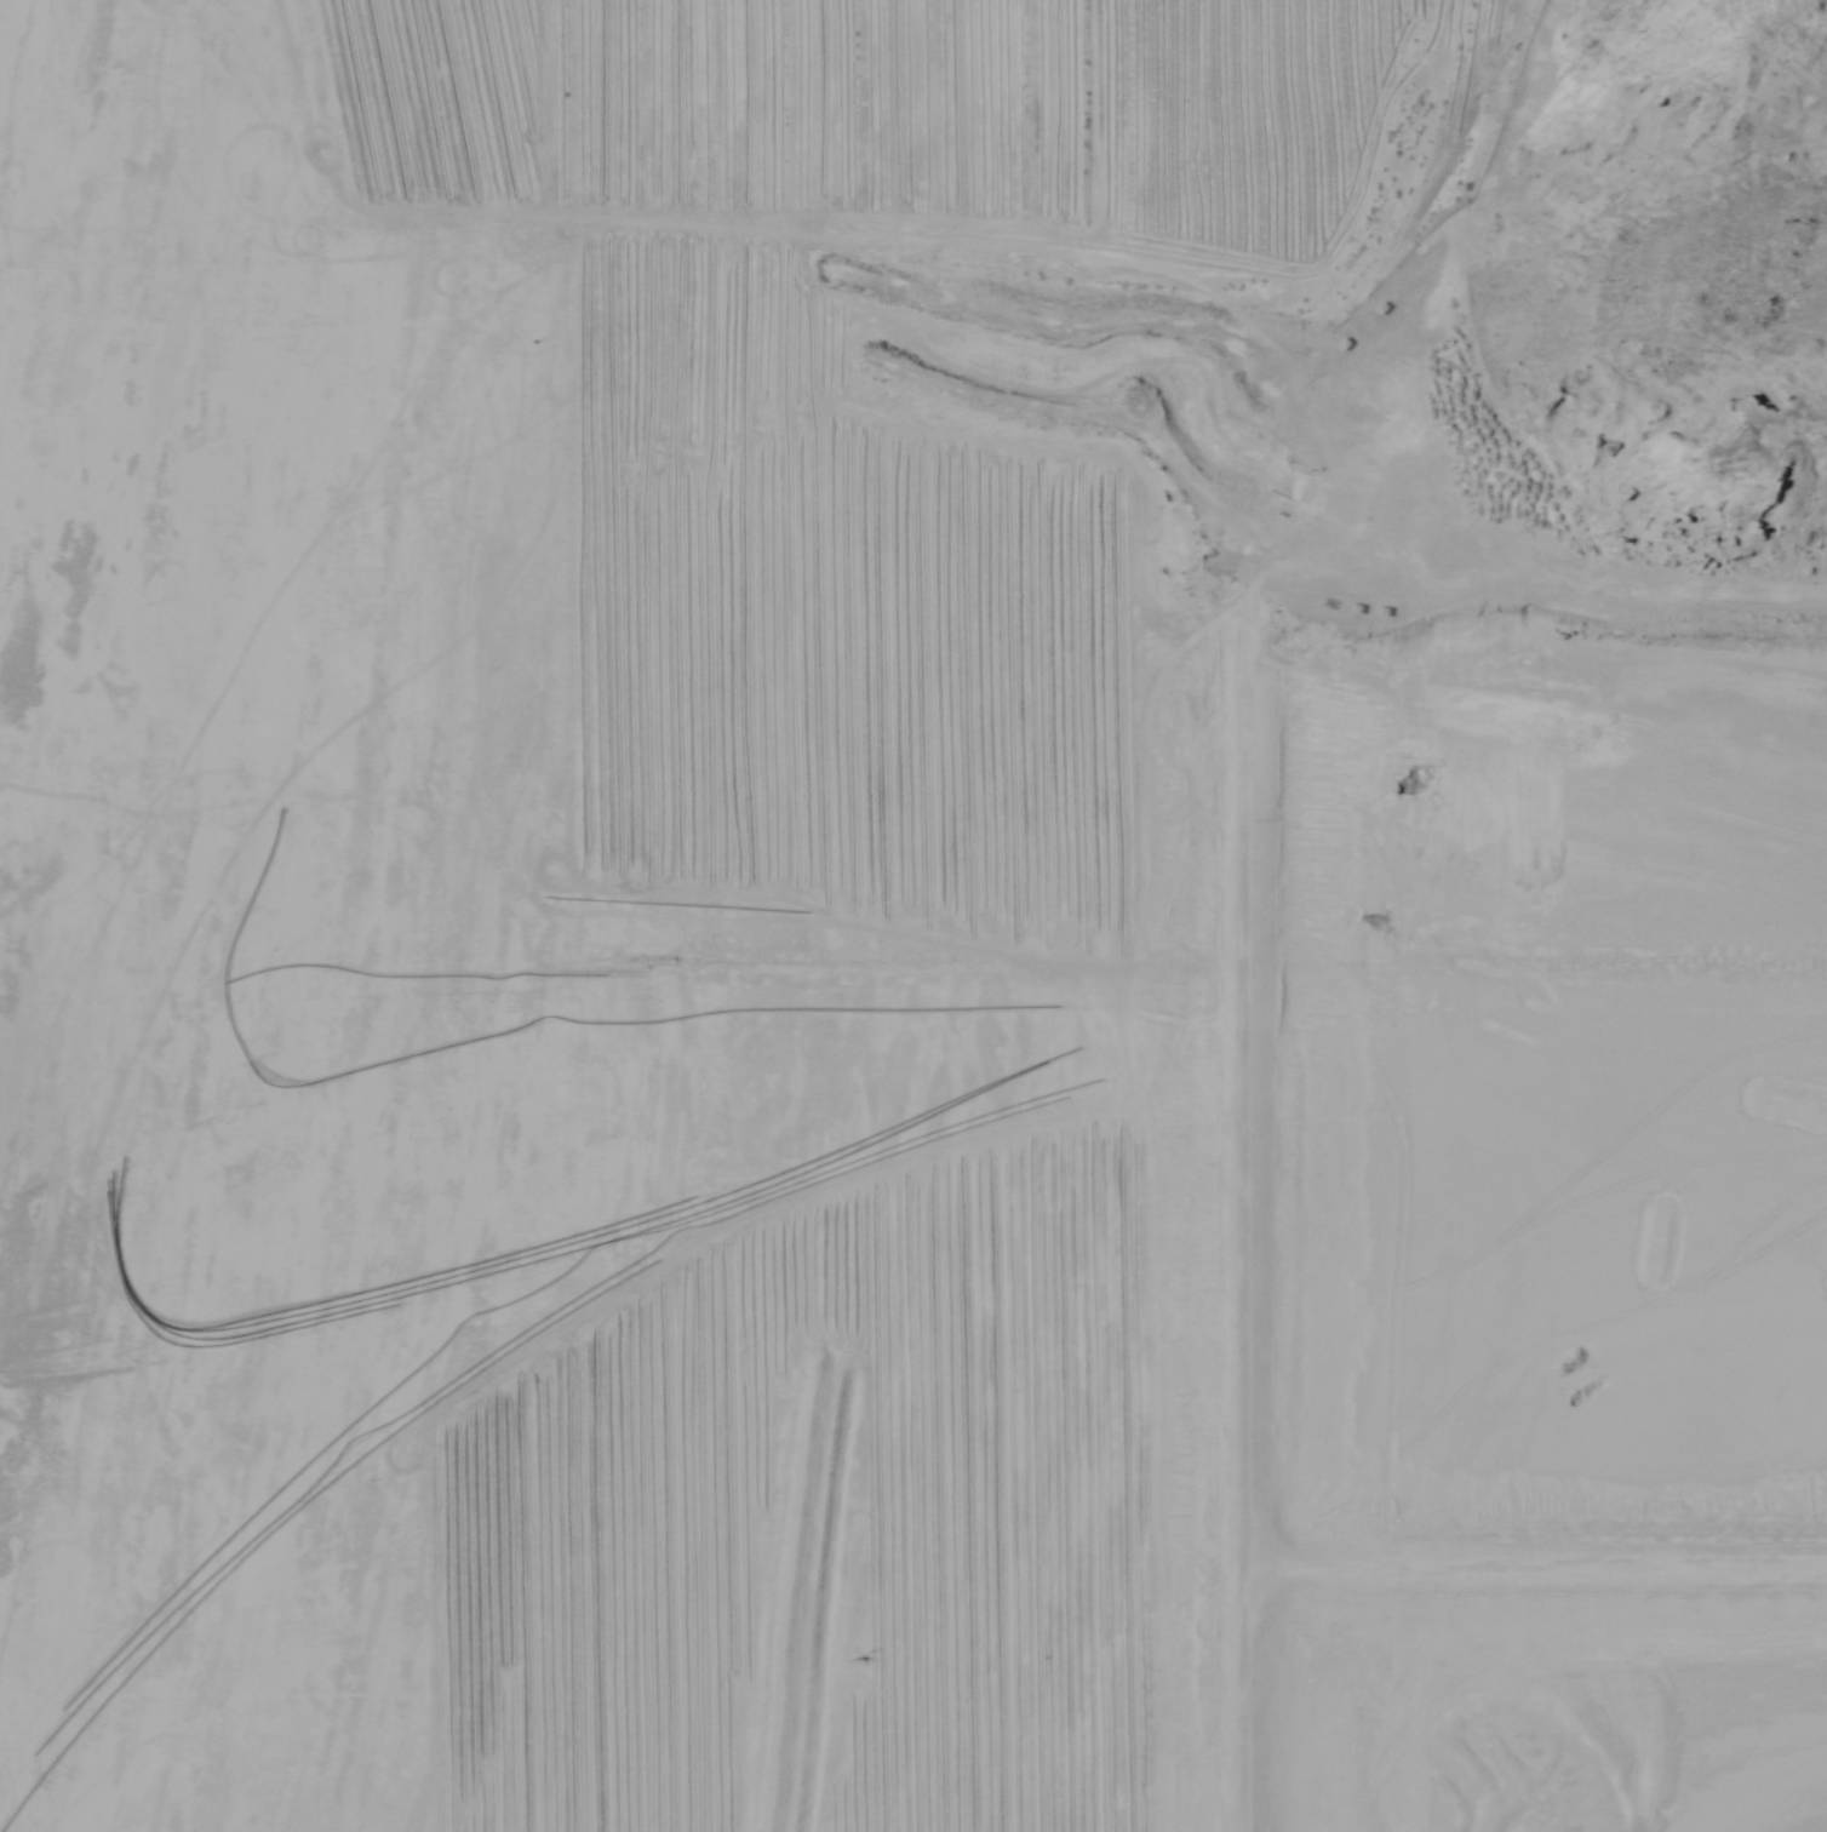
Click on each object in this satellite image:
road: (1284, 475)
road: (1571, 565)

